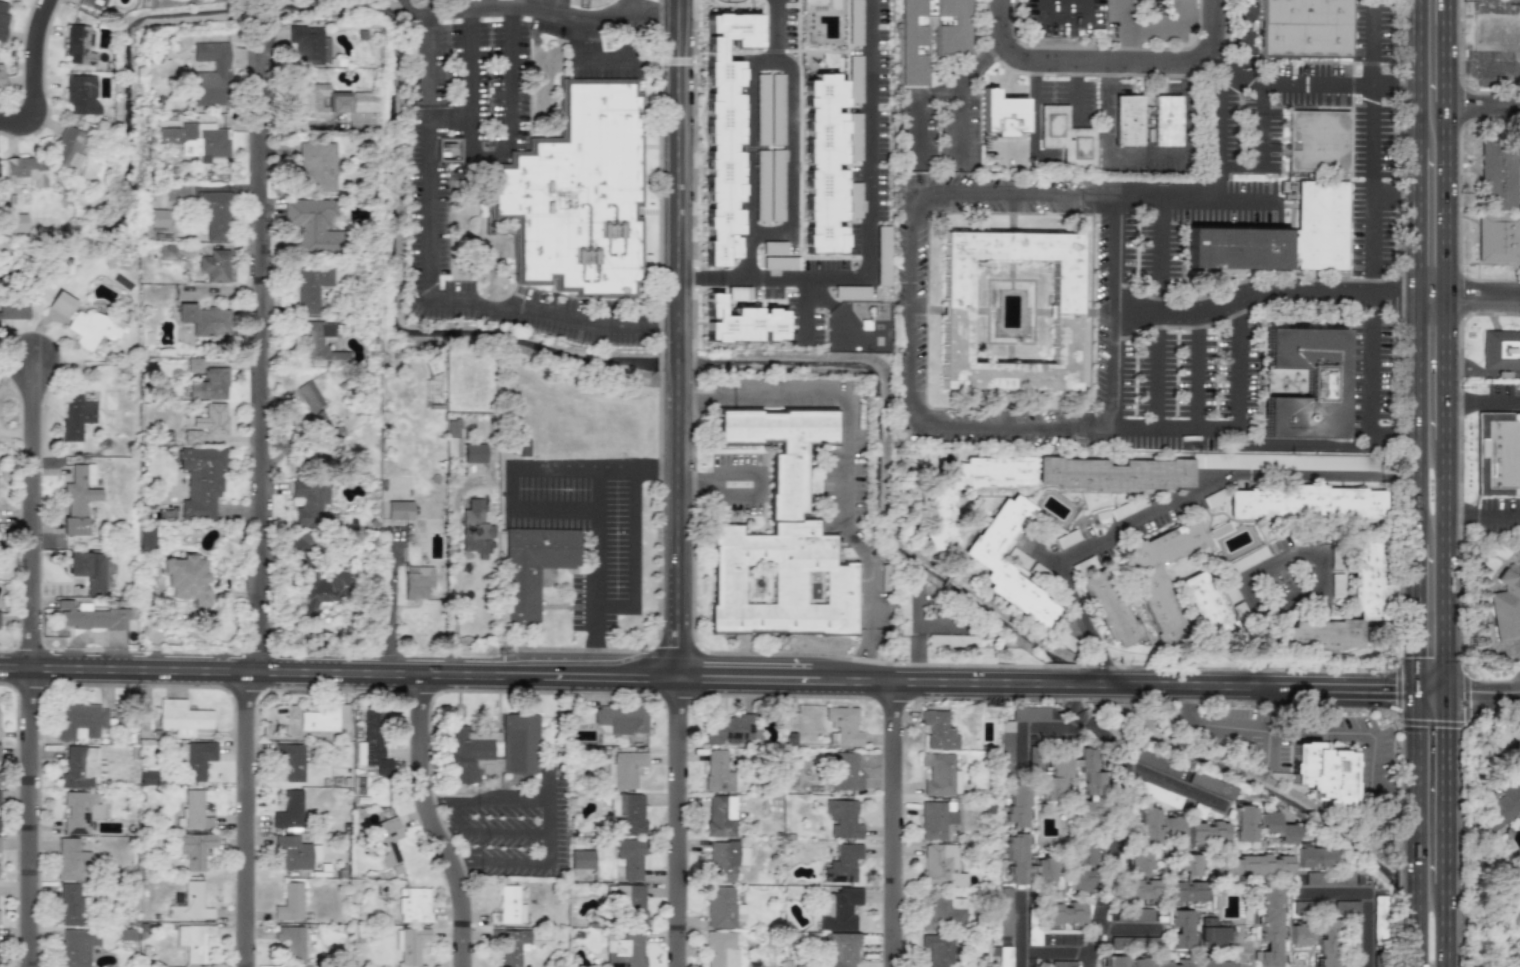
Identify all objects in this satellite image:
road: (1484, 0)
building: (93, 4)
road: (485, 4)
road: (634, 6)
road: (1067, 11)
road: (411, 13)
building: (3, 17)
building: (1306, 31)
building: (951, 39)
building: (80, 44)
building: (306, 44)
road: (1448, 50)
road: (606, 59)
road: (1106, 64)
road: (1412, 73)
building: (212, 74)
road: (26, 77)
building: (0, 80)
road: (1323, 84)
road: (1077, 90)
road: (938, 91)
building: (81, 94)
road: (257, 96)
road: (1223, 96)
building: (320, 101)
building: (365, 102)
road: (1034, 107)
building: (769, 109)
road: (1484, 112)
building: (1001, 114)
road: (446, 116)
road: (957, 117)
building: (1127, 120)
building: (1166, 121)
road: (792, 132)
building: (723, 134)
building: (1065, 136)
road: (1372, 140)
road: (1259, 144)
building: (1320, 146)
building: (68, 147)
road: (489, 151)
road: (424, 153)
road: (1145, 156)
road: (747, 158)
building: (823, 163)
building: (316, 166)
building: (25, 170)
building: (769, 185)
building: (579, 195)
road: (1448, 200)
building: (1499, 205)
building: (215, 213)
building: (161, 219)
building: (308, 222)
road: (1412, 222)
road: (912, 228)
road: (867, 230)
building: (1323, 232)
road: (1158, 240)
building: (166, 253)
building: (1240, 259)
building: (214, 266)
building: (311, 287)
road: (1261, 298)
road: (1430, 298)
road: (1484, 299)
building: (60, 304)
building: (14, 309)
building: (957, 312)
building: (203, 319)
building: (740, 322)
building: (91, 328)
road: (681, 338)
building: (319, 346)
building: (1506, 357)
building: (193, 364)
road: (1448, 369)
road: (1112, 376)
road: (1155, 382)
building: (1304, 382)
building: (208, 384)
road: (1198, 385)
building: (308, 396)
road: (1370, 400)
road: (1484, 400)
road: (257, 407)
building: (75, 415)
road: (1412, 420)
building: (207, 423)
building: (325, 428)
road: (1245, 445)
building: (473, 453)
building: (1498, 459)
road: (846, 460)
road: (670, 465)
road: (557, 466)
road: (631, 466)
road: (758, 468)
building: (1179, 469)
building: (200, 480)
road: (512, 488)
building: (78, 499)
road: (1176, 502)
building: (1305, 502)
building: (310, 504)
building: (398, 510)
road: (557, 512)
building: (939, 516)
road: (1484, 516)
building: (475, 529)
road: (637, 535)
building: (146, 536)
building: (780, 539)
road: (601, 557)
road: (1272, 563)
building: (991, 566)
road: (1448, 566)
building: (533, 568)
building: (92, 570)
building: (1365, 570)
building: (187, 579)
building: (417, 581)
road: (618, 604)
building: (1206, 605)
building: (1506, 605)
building: (1109, 608)
building: (1160, 609)
road: (390, 612)
building: (90, 615)
road: (1412, 616)
road: (939, 625)
road: (916, 636)
building: (951, 640)
road: (600, 662)
road: (1104, 665)
road: (28, 668)
road: (340, 671)
road: (1046, 683)
traffic signals: (1412, 690)
road: (1430, 691)
traffic signals: (1448, 692)
road: (1484, 692)
road: (1074, 698)
building: (182, 718)
building: (325, 719)
building: (80, 720)
building: (622, 721)
building: (842, 727)
building: (727, 730)
building: (938, 730)
road: (1311, 732)
building: (372, 743)
building: (519, 744)
building: (472, 756)
building: (196, 758)
building: (291, 763)
building: (82, 766)
building: (625, 769)
building: (1322, 770)
building: (718, 771)
building: (843, 771)
building: (941, 776)
building: (147, 777)
road: (547, 782)
road: (1166, 783)
building: (1211, 785)
road: (1447, 788)
building: (1059, 789)
road: (511, 800)
road: (428, 801)
road: (459, 801)
building: (1500, 803)
building: (195, 810)
building: (78, 811)
building: (289, 811)
building: (628, 813)
building: (720, 816)
road: (243, 818)
building: (842, 819)
building: (936, 819)
road: (680, 822)
building: (1243, 822)
road: (419, 823)
road: (888, 823)
building: (1147, 825)
building: (1277, 826)
building: (1172, 827)
road: (1412, 828)
road: (434, 829)
road: (466, 829)
road: (516, 829)
road: (547, 831)
road: (1116, 833)
building: (1207, 833)
building: (387, 842)
building: (194, 849)
building: (293, 853)
building: (1083, 853)
building: (1314, 855)
building: (1016, 857)
building: (630, 858)
building: (70, 859)
building: (581, 859)
building: (725, 860)
road: (448, 862)
road: (469, 862)
road: (513, 862)
building: (1138, 863)
building: (843, 864)
building: (1188, 864)
building: (941, 866)
building: (1252, 866)
building: (1044, 872)
building: (1080, 879)
building: (1139, 889)
building: (1185, 891)
road: (1365, 900)
building: (290, 902)
building: (191, 903)
building: (632, 903)
building: (69, 904)
building: (414, 905)
building: (511, 905)
building: (1346, 907)
building: (722, 908)
building: (839, 908)
building: (1004, 911)
building: (943, 913)
building: (1131, 914)
building: (1064, 915)
building: (1379, 919)
road: (1447, 925)
building: (1269, 927)
building: (1181, 929)
building: (1214, 933)
building: (1299, 935)
building: (193, 941)
building: (291, 942)
building: (1327, 943)
building: (411, 945)
building: (511, 945)
building: (77, 946)
building: (721, 949)
building: (937, 949)
building: (840, 950)
road: (1028, 950)
road: (1019, 958)
building: (1117, 961)
road: (1245, 961)
building: (1140, 962)
building: (1192, 963)

